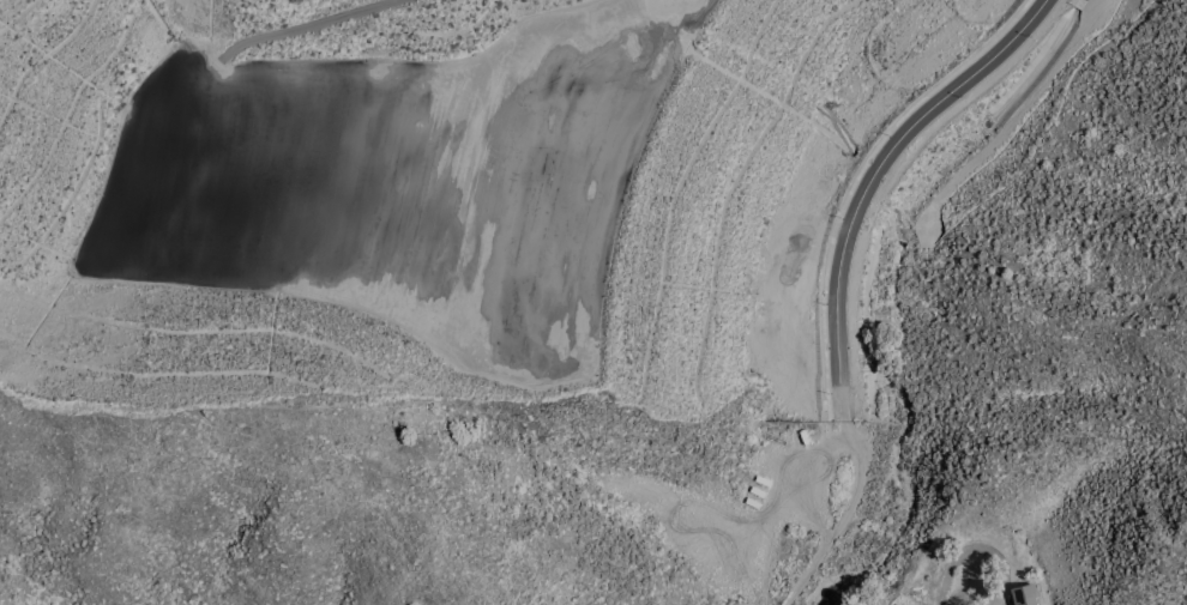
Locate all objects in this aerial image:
road: (856, 177)
road: (870, 177)
road: (842, 516)
road: (947, 563)
building: (1025, 594)

